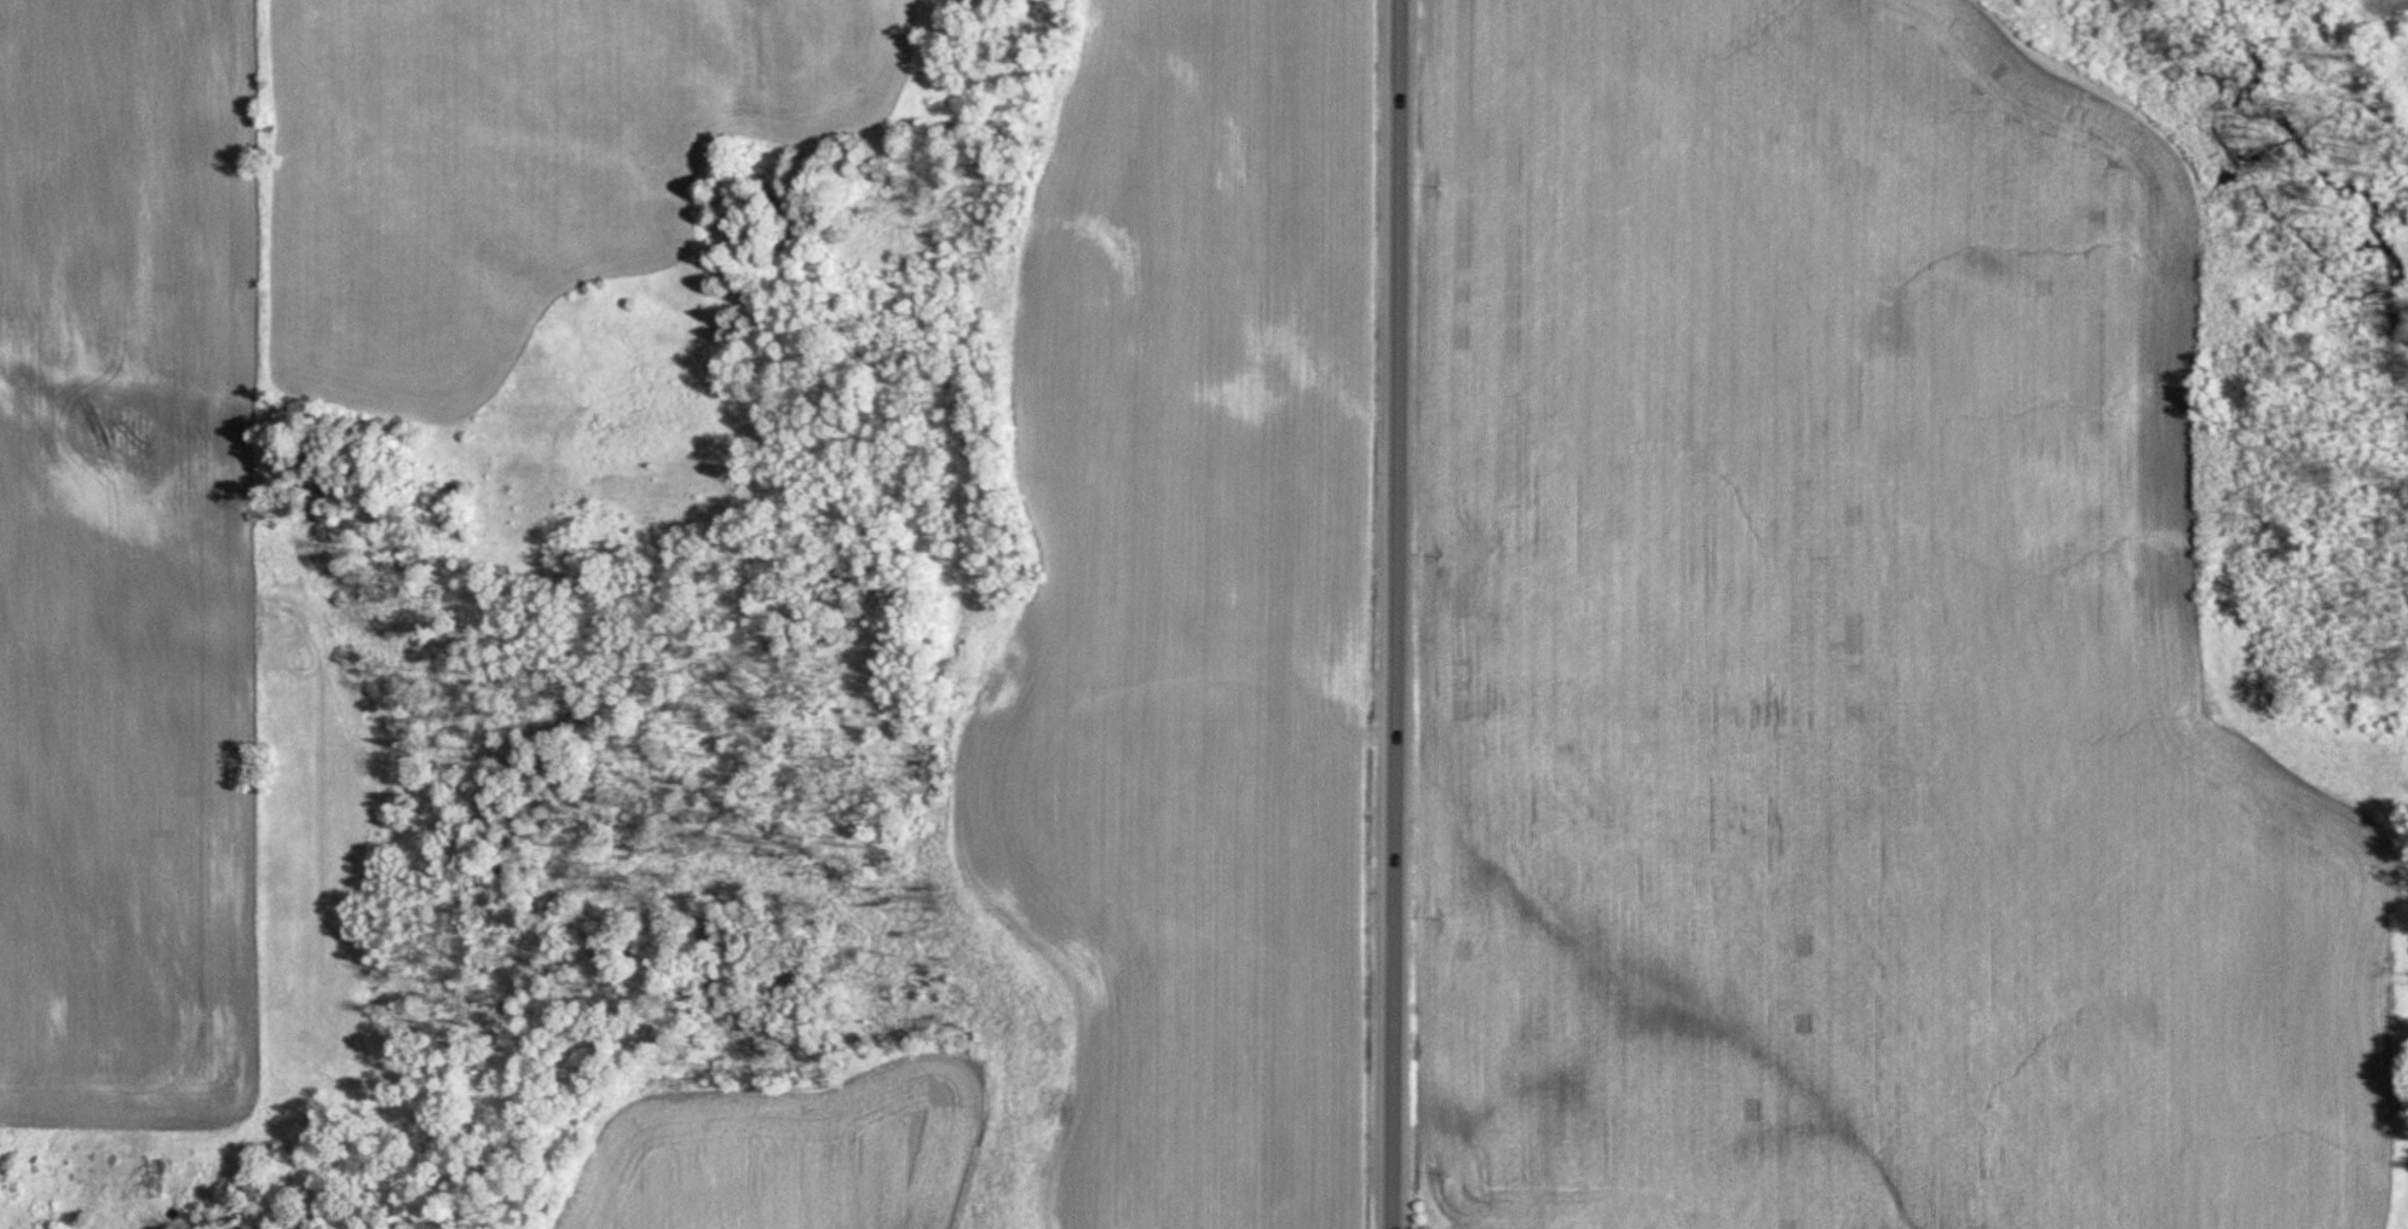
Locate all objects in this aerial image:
road: (1396, 614)

